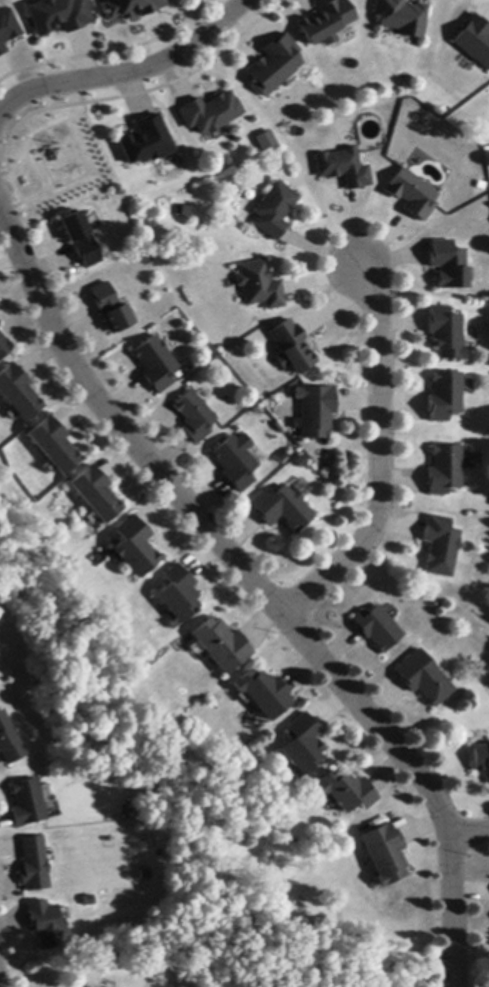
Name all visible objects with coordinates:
building: (131, 8)
building: (56, 15)
building: (401, 18)
building: (326, 23)
building: (5, 27)
building: (473, 39)
building: (1, 49)
building: (274, 65)
road: (131, 75)
building: (209, 113)
building: (145, 139)
building: (265, 141)
building: (343, 169)
building: (412, 195)
building: (274, 211)
building: (80, 239)
building: (448, 265)
building: (259, 286)
building: (111, 309)
building: (446, 334)
building: (4, 347)
building: (291, 348)
building: (155, 364)
building: (18, 393)
building: (444, 396)
building: (314, 412)
building: (194, 417)
building: (52, 445)
building: (235, 462)
road: (379, 462)
building: (444, 470)
building: (94, 494)
building: (282, 509)
building: (133, 547)
building: (439, 547)
road: (258, 588)
building: (177, 594)
building: (376, 628)
building: (220, 646)
building: (423, 679)
building: (262, 694)
building: (9, 742)
building: (302, 744)
building: (481, 759)
building: (346, 792)
building: (29, 803)
road: (468, 833)
building: (384, 854)
building: (34, 865)
building: (47, 926)

